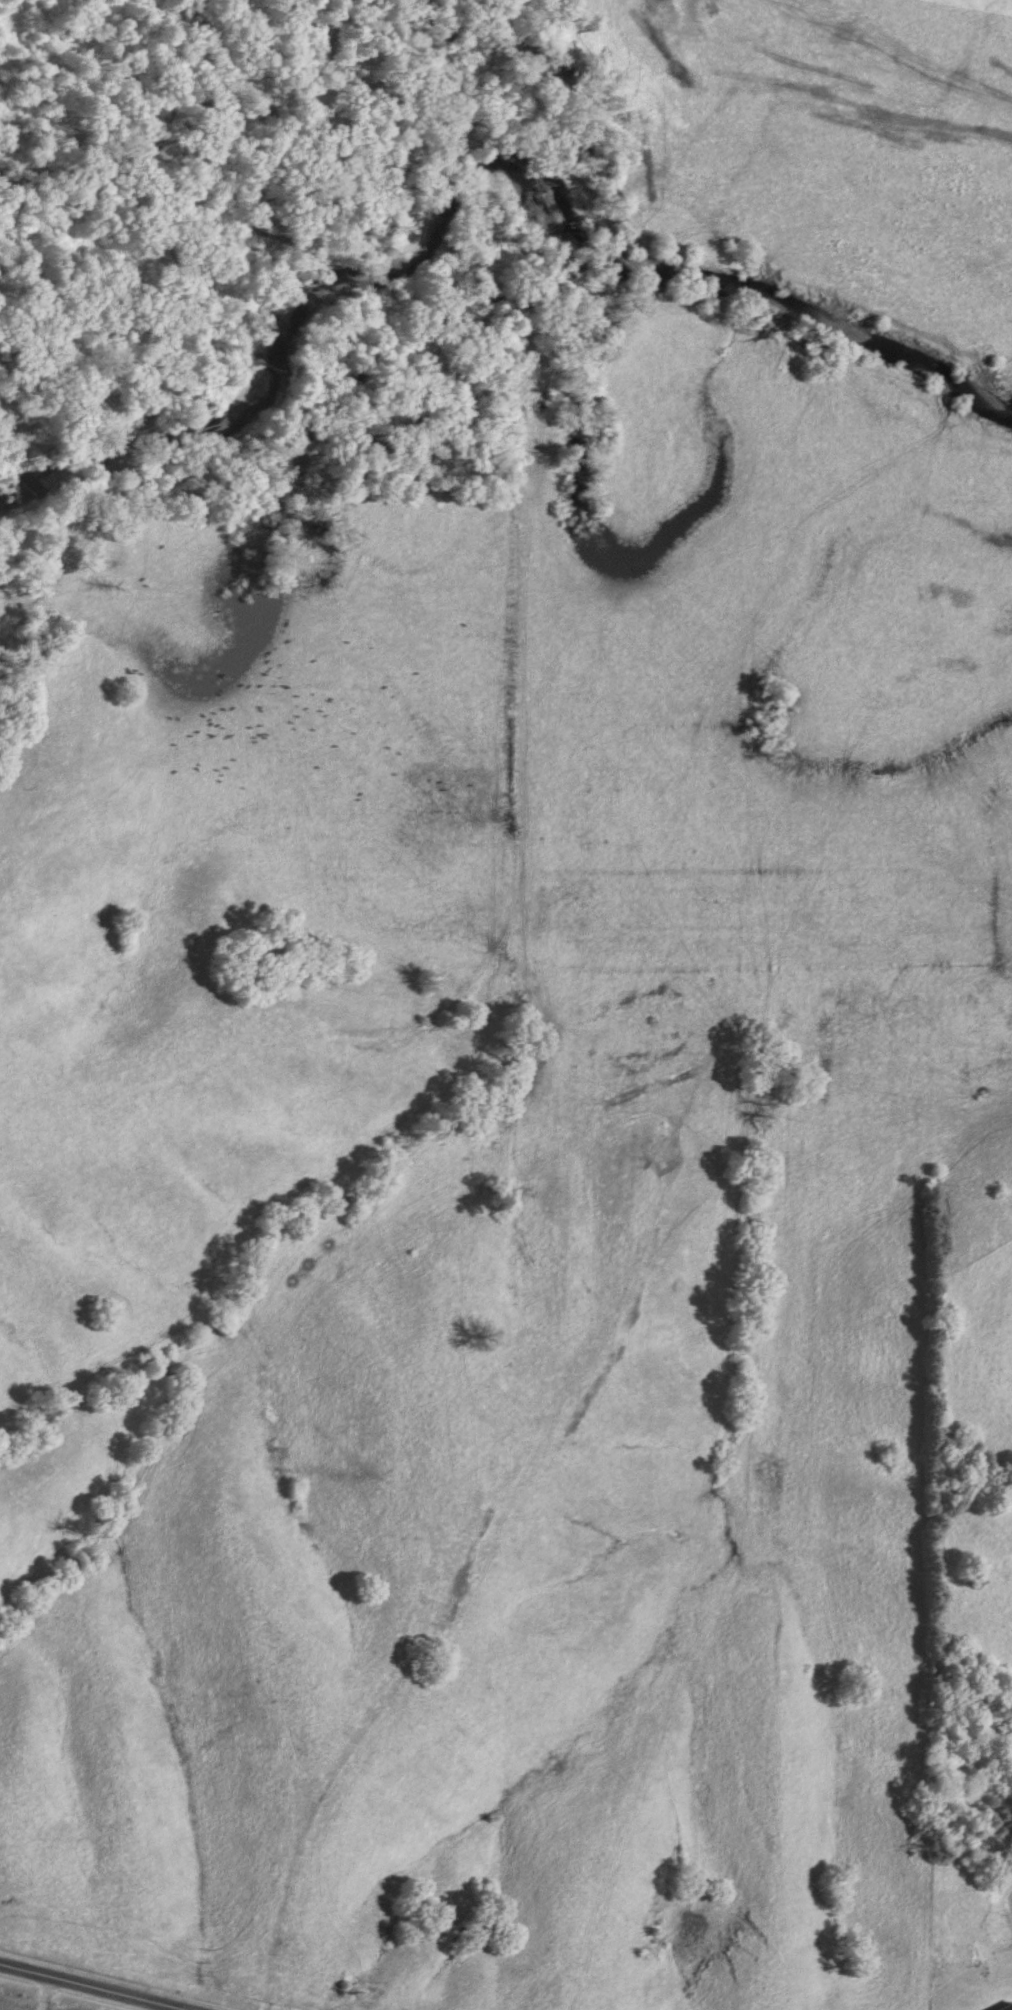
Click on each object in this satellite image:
road: (87, 1988)

